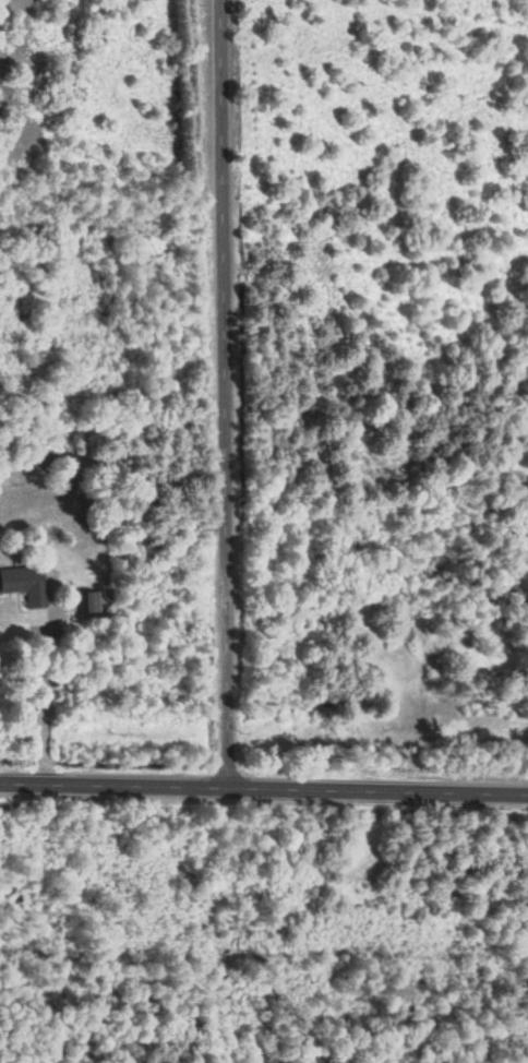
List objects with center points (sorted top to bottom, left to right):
road: (223, 395)
building: (86, 604)
road: (263, 790)

